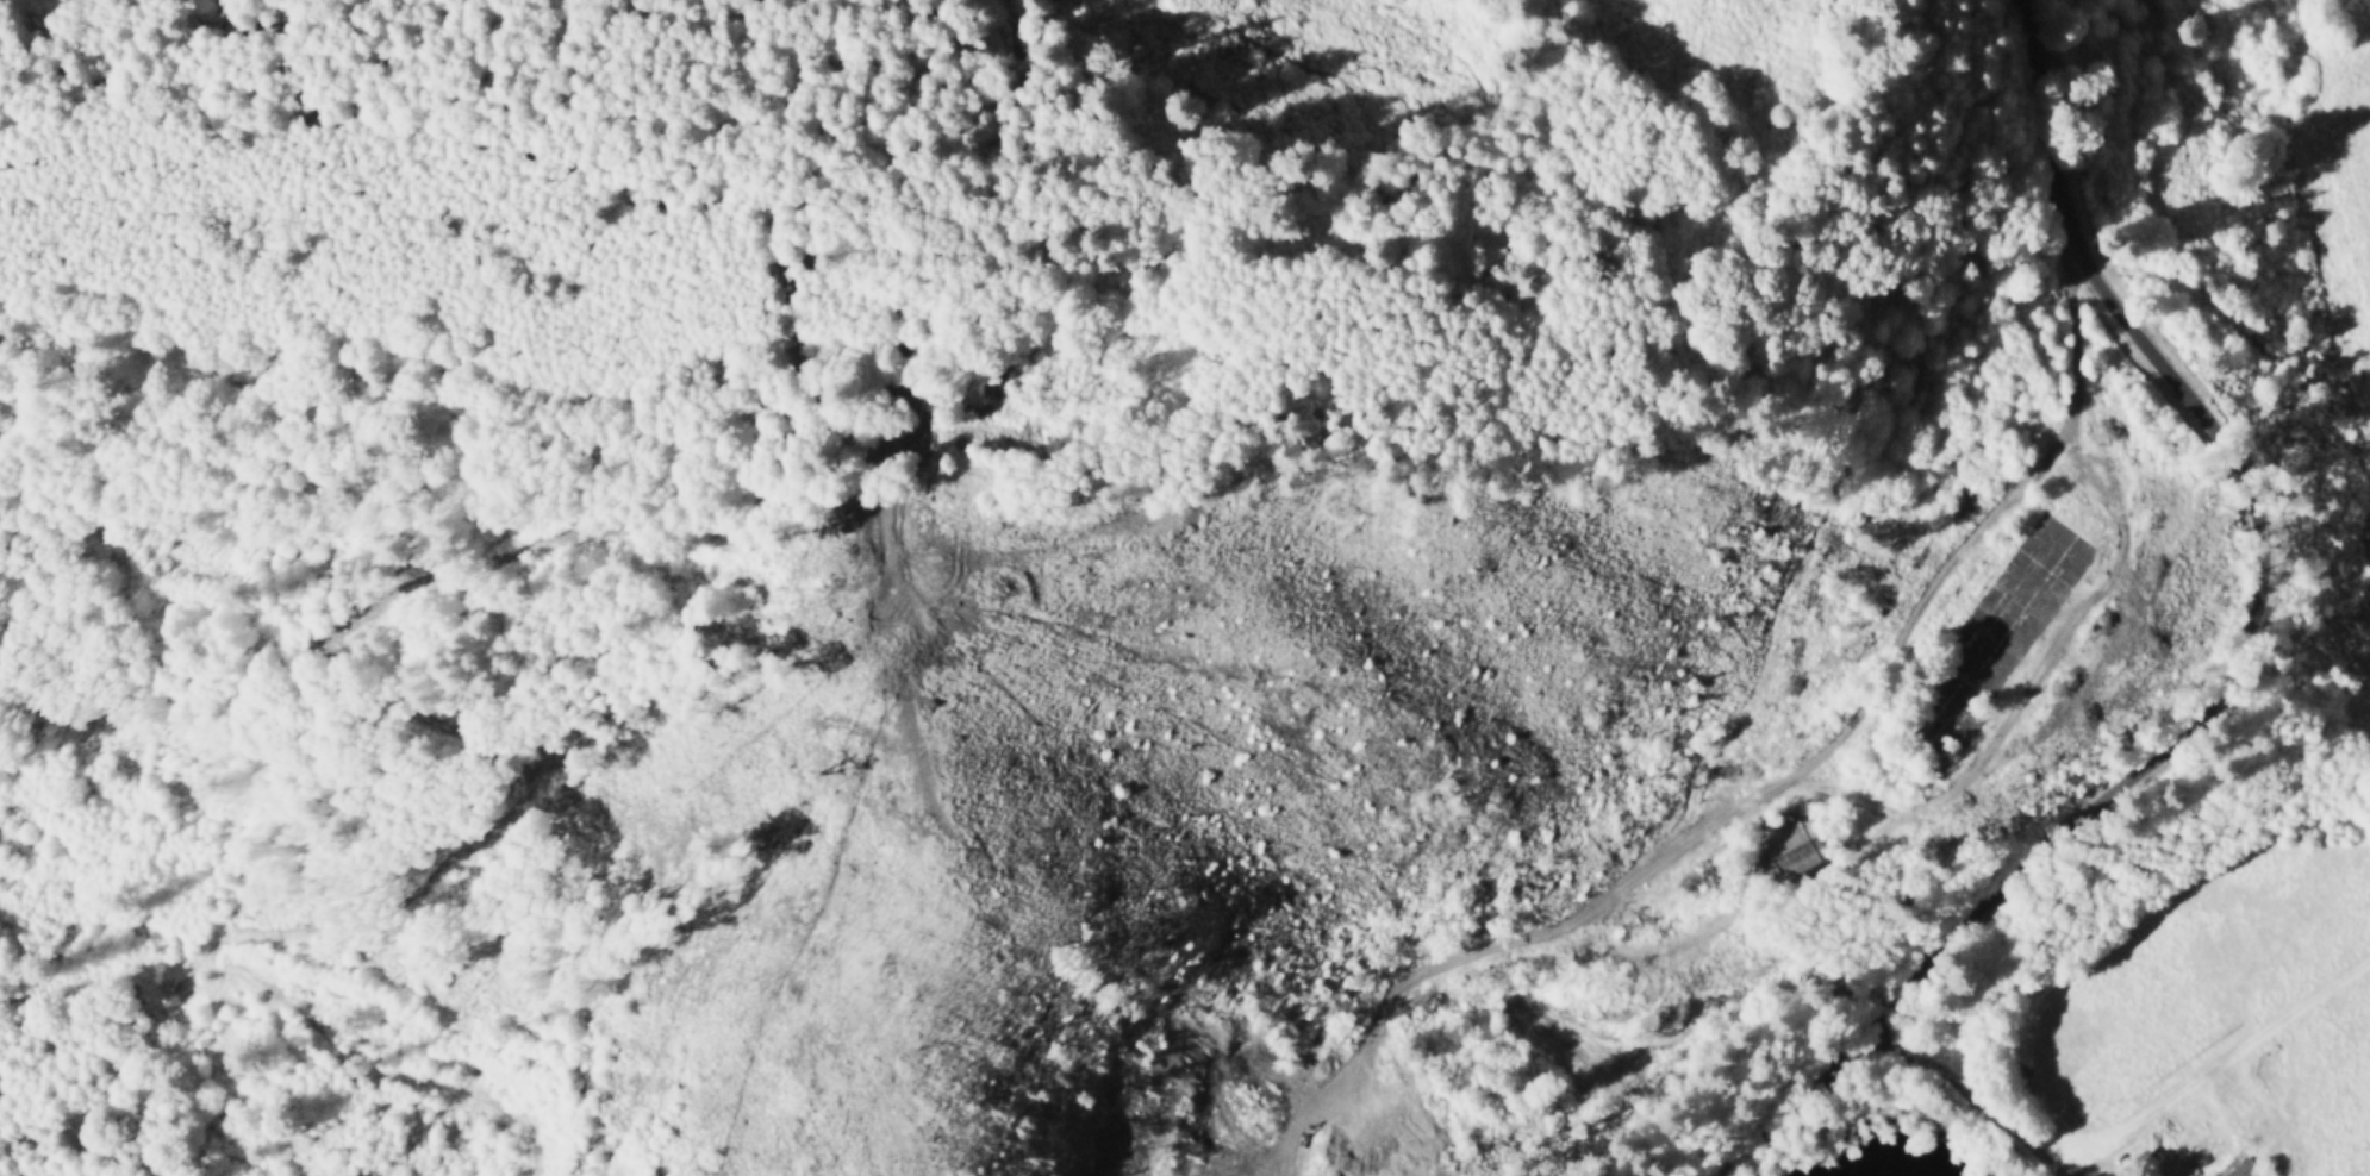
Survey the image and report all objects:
road: (2234, 665)
road: (1779, 787)
road: (319, 930)
road: (517, 1116)

